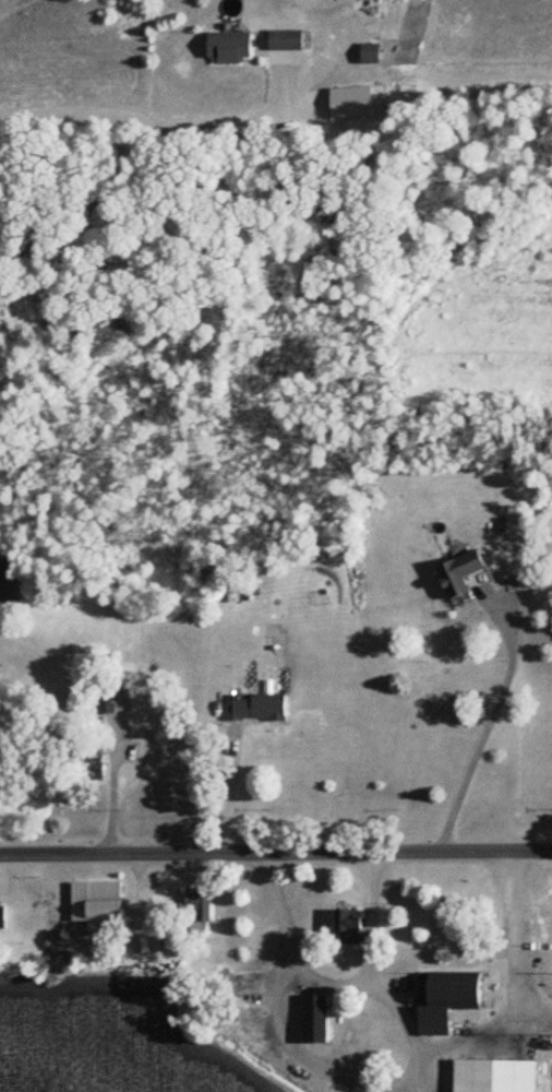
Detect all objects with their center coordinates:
building: (284, 39)
building: (229, 46)
building: (369, 54)
road: (155, 116)
building: (458, 571)
building: (106, 701)
building: (254, 708)
road: (489, 724)
building: (93, 764)
road: (119, 781)
road: (231, 788)
road: (276, 853)
building: (98, 906)
building: (197, 914)
building: (2, 918)
road: (374, 919)
building: (349, 926)
building: (444, 998)
building: (315, 1019)
road: (419, 1043)
road: (321, 1068)
building: (493, 1076)

